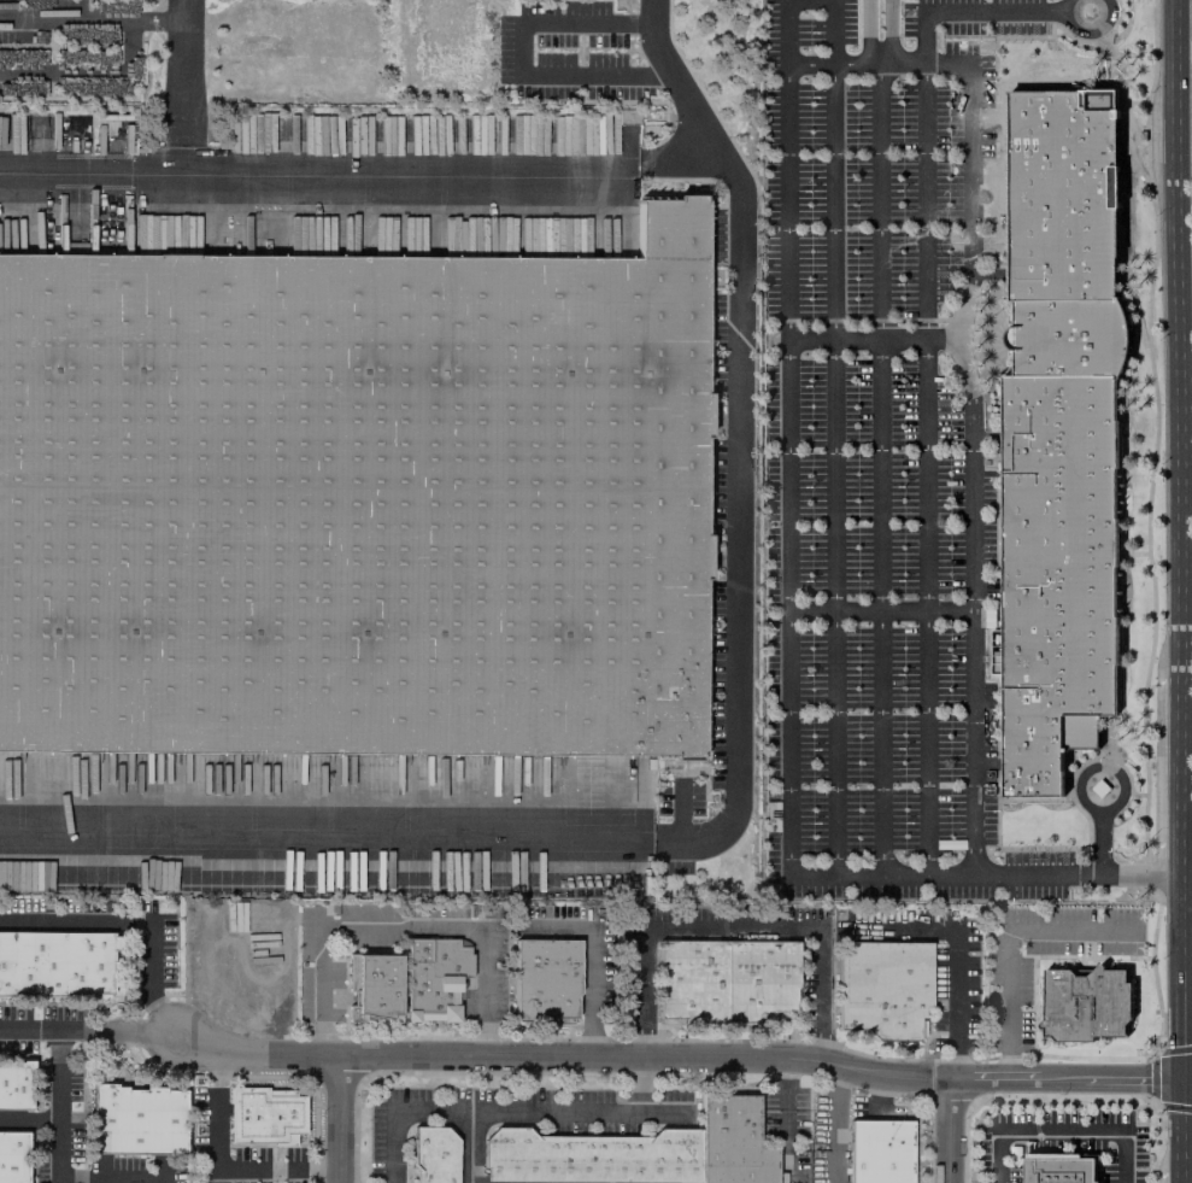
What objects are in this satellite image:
road: (93, 19)
road: (785, 30)
road: (830, 30)
road: (865, 30)
road: (887, 30)
road: (1086, 34)
road: (922, 35)
road: (522, 59)
road: (89, 69)
road: (184, 82)
building: (0, 123)
road: (363, 165)
road: (871, 340)
road: (1175, 433)
building: (1059, 434)
road: (970, 443)
road: (786, 467)
road: (833, 467)
road: (879, 467)
road: (924, 467)
building: (354, 499)
road: (734, 765)
road: (1086, 768)
road: (944, 874)
road: (1108, 875)
road: (401, 925)
road: (734, 926)
road: (1009, 937)
road: (957, 945)
road: (591, 955)
building: (55, 962)
road: (1179, 973)
building: (433, 978)
building: (545, 979)
building: (724, 980)
building: (372, 988)
building: (883, 988)
road: (149, 995)
building: (1085, 1005)
road: (676, 1058)
road: (1186, 1078)
traffic signals: (1181, 1079)
building: (14, 1085)
road: (59, 1106)
road: (507, 1112)
building: (265, 1115)
road: (217, 1118)
road: (339, 1119)
road: (29, 1120)
building: (136, 1120)
road: (835, 1123)
road: (952, 1130)
road: (1180, 1130)
road: (1062, 1131)
building: (732, 1142)
road: (469, 1148)
building: (877, 1150)
building: (434, 1154)
building: (13, 1156)
building: (591, 1158)
road: (277, 1169)
building: (1064, 1170)
road: (113, 1177)

